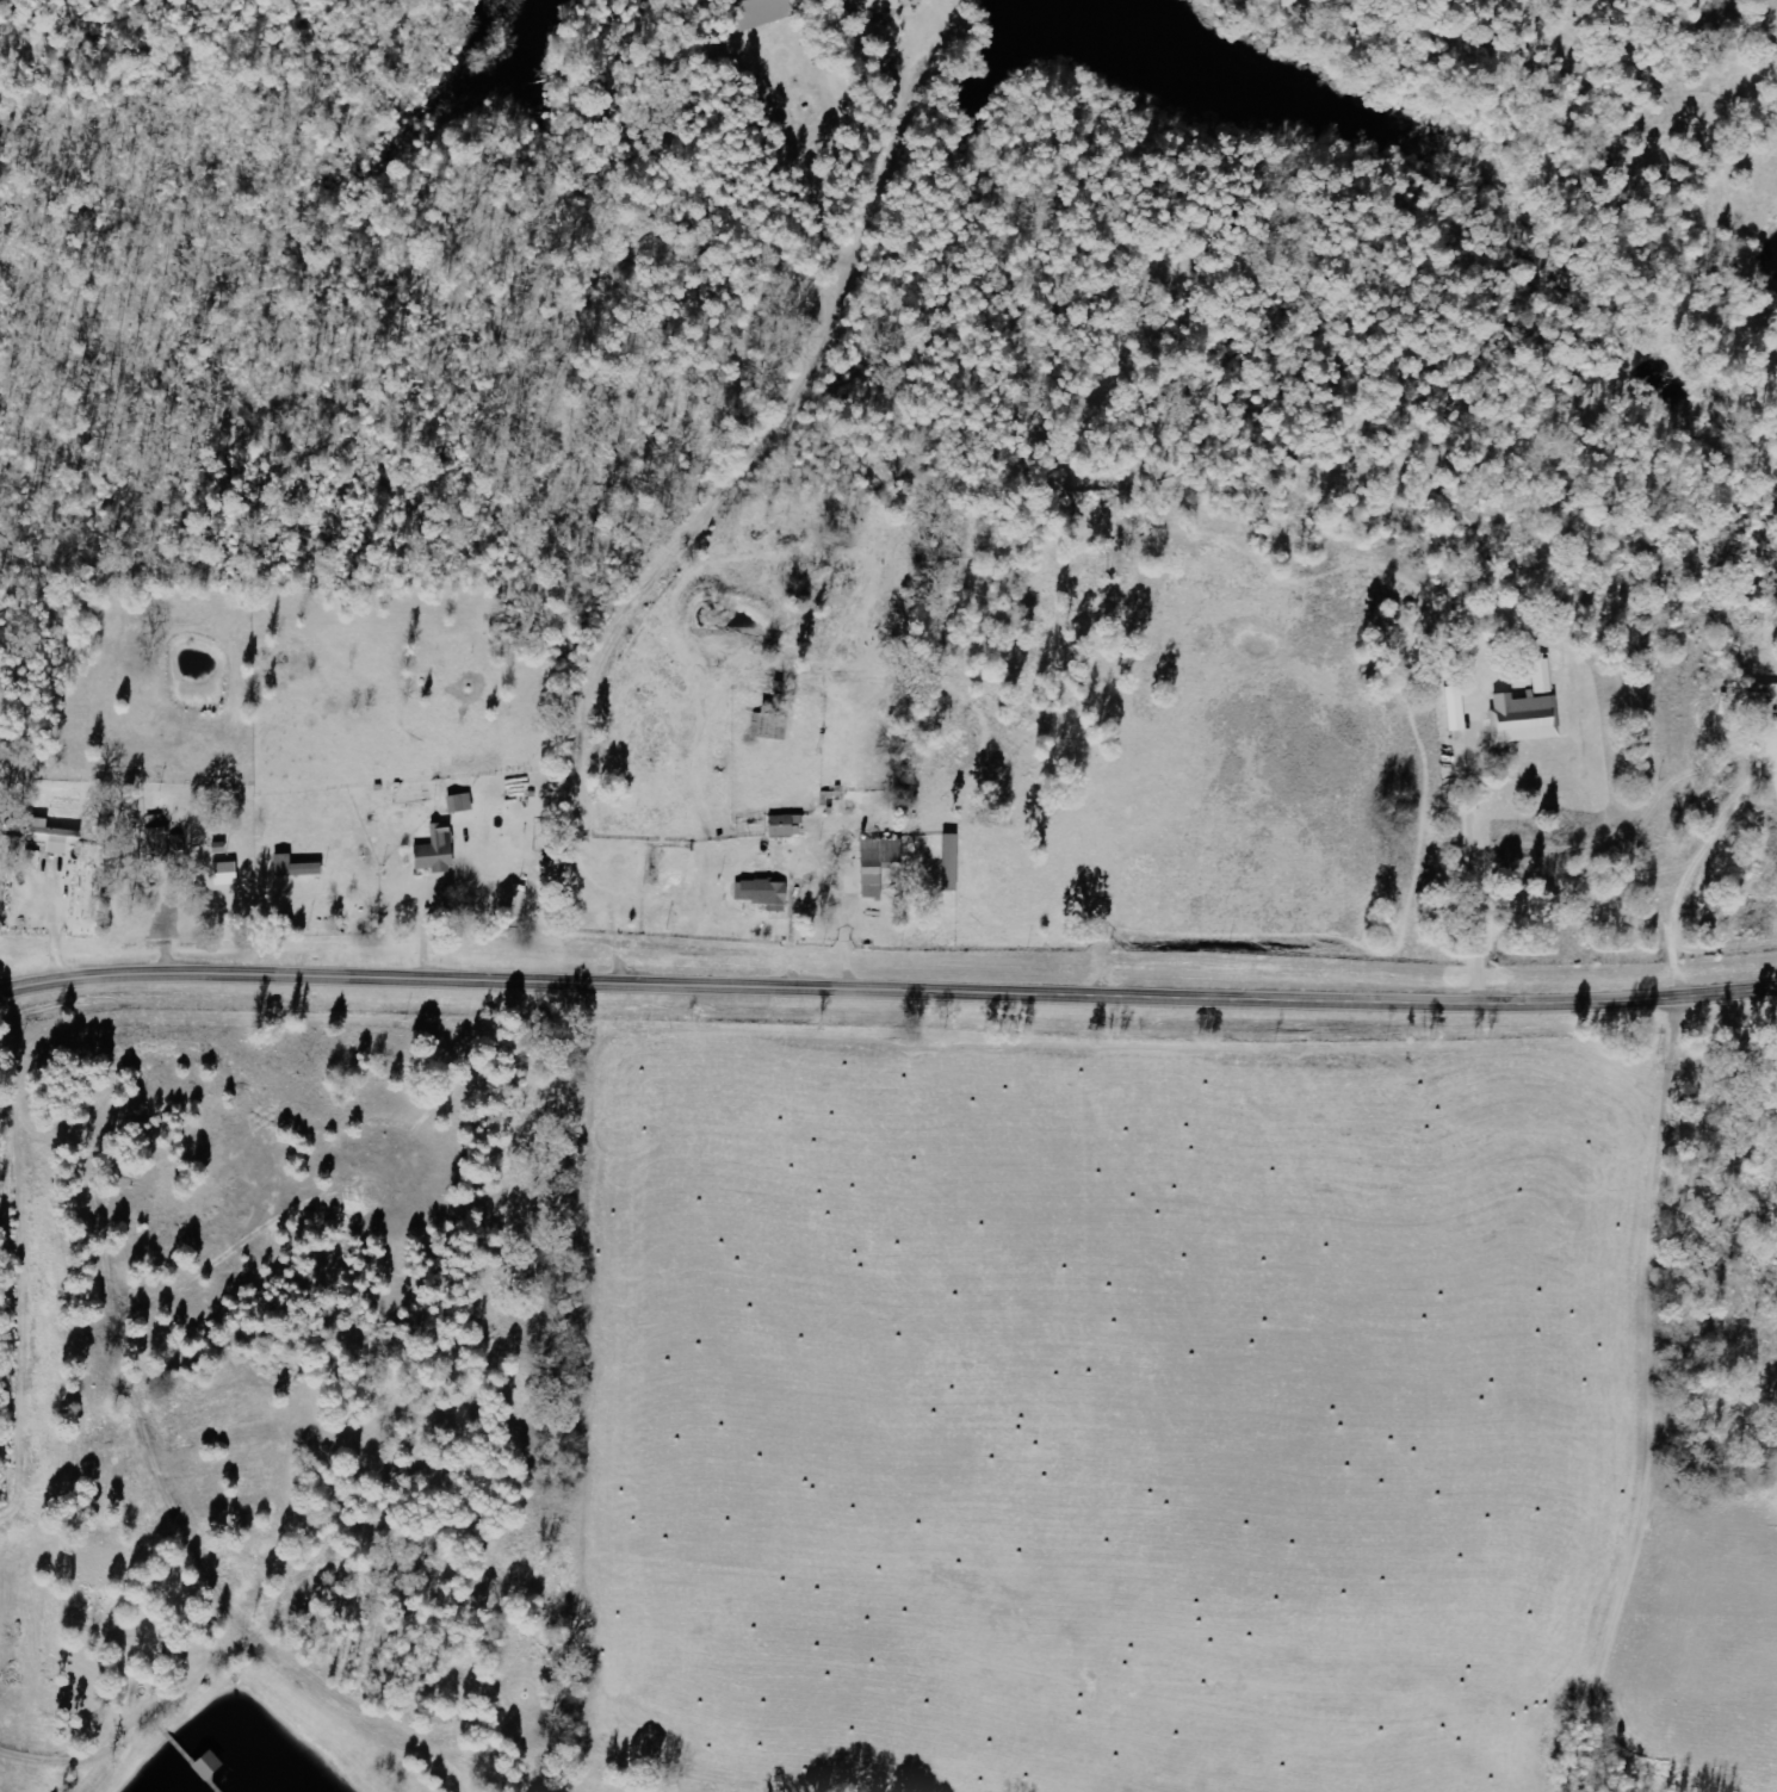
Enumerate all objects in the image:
building: (885, 7)
building: (770, 12)
building: (1453, 712)
building: (1524, 712)
building: (464, 804)
building: (788, 825)
building: (56, 837)
building: (441, 851)
building: (883, 864)
building: (298, 868)
building: (230, 874)
building: (767, 894)
road: (887, 992)
road: (394, 1086)
road: (32, 1389)

